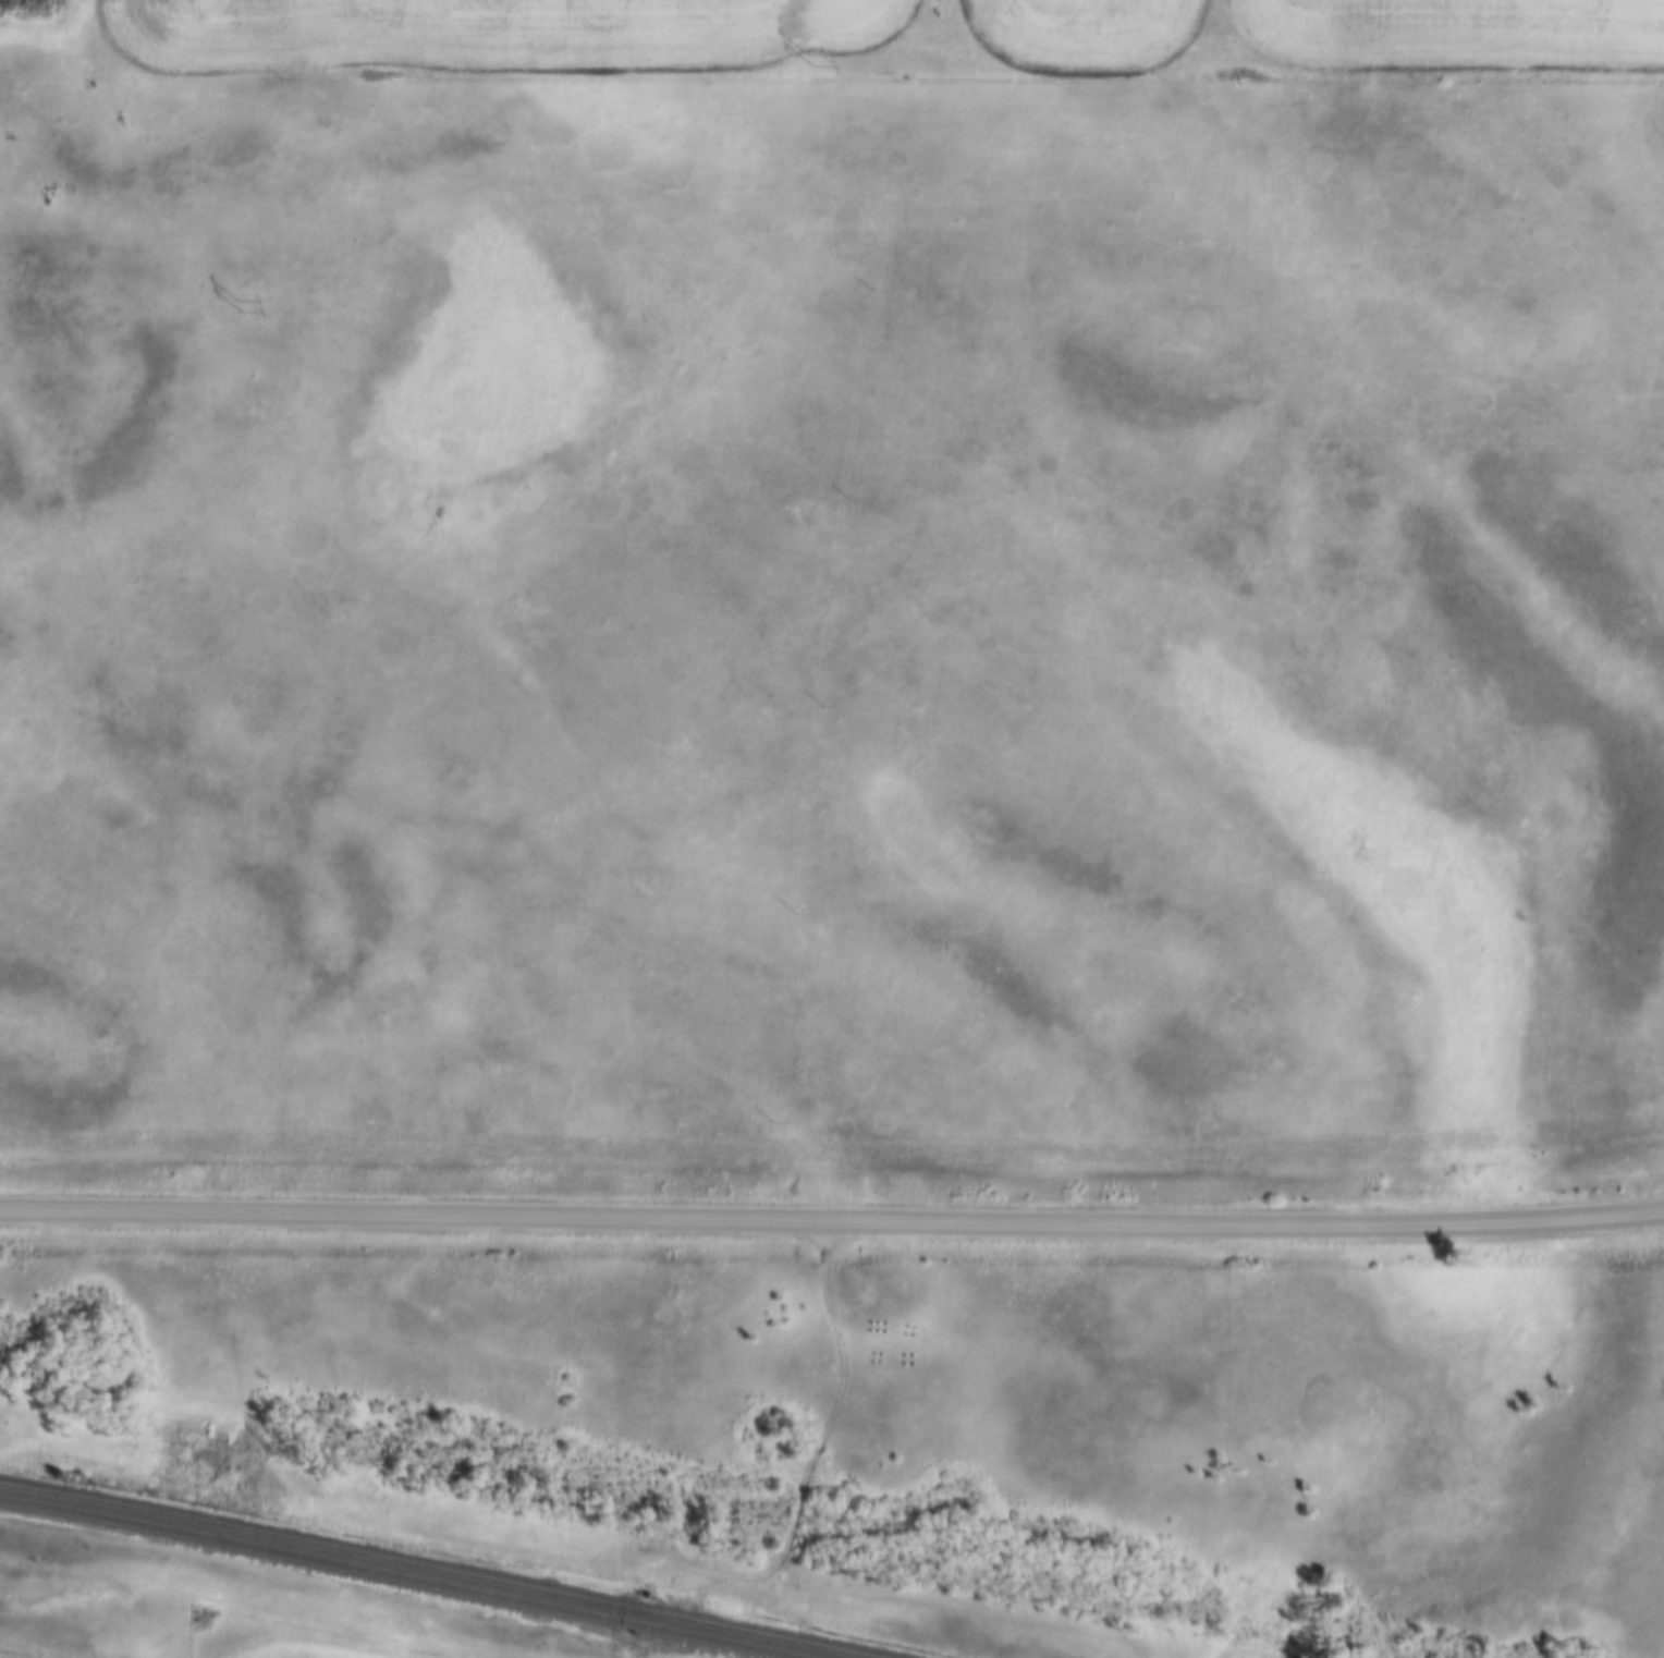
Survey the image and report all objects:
power tower: (809, 59)
power tower: (238, 305)
road: (832, 1222)
railway: (436, 1570)
railway: (401, 1574)

